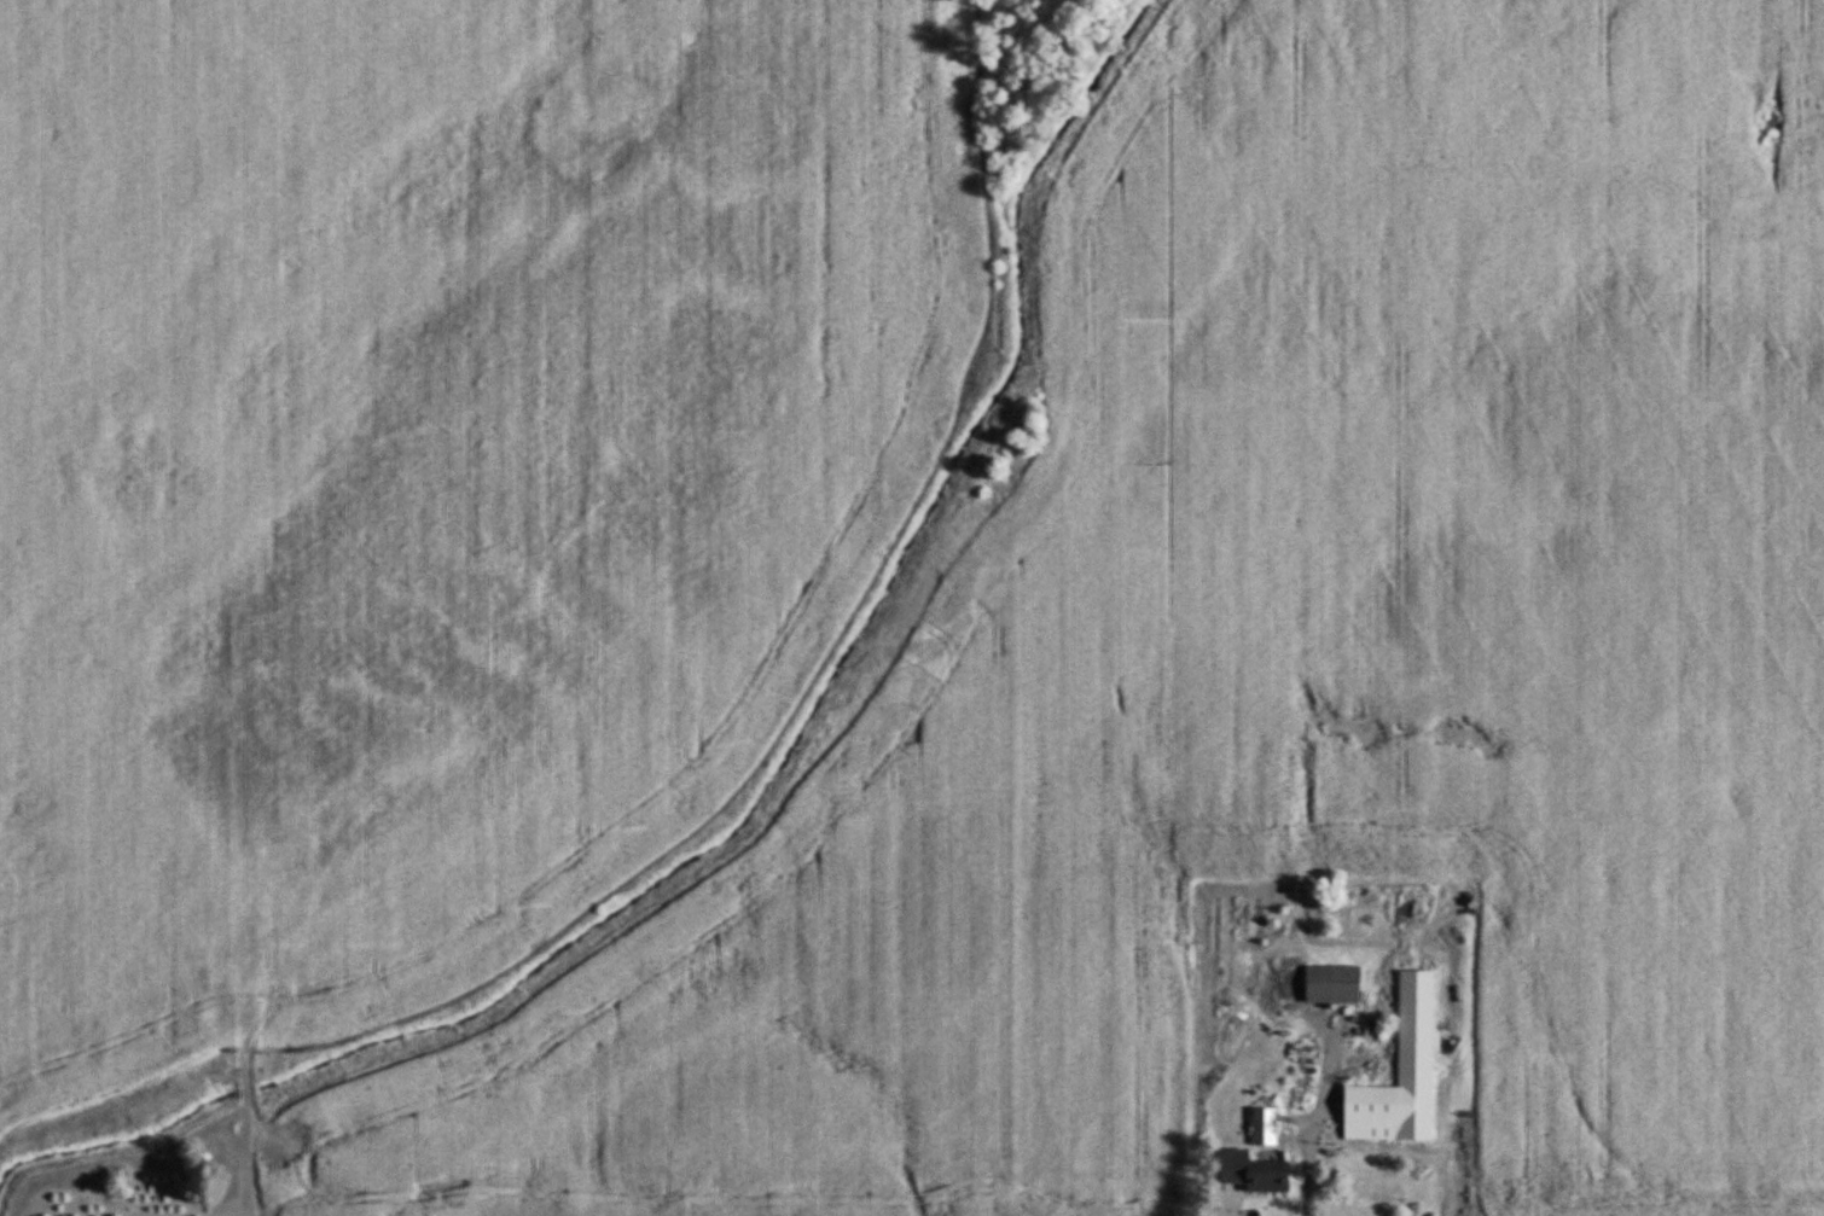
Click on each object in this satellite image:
building: (1332, 985)
building: (1401, 1075)
building: (1268, 1177)

